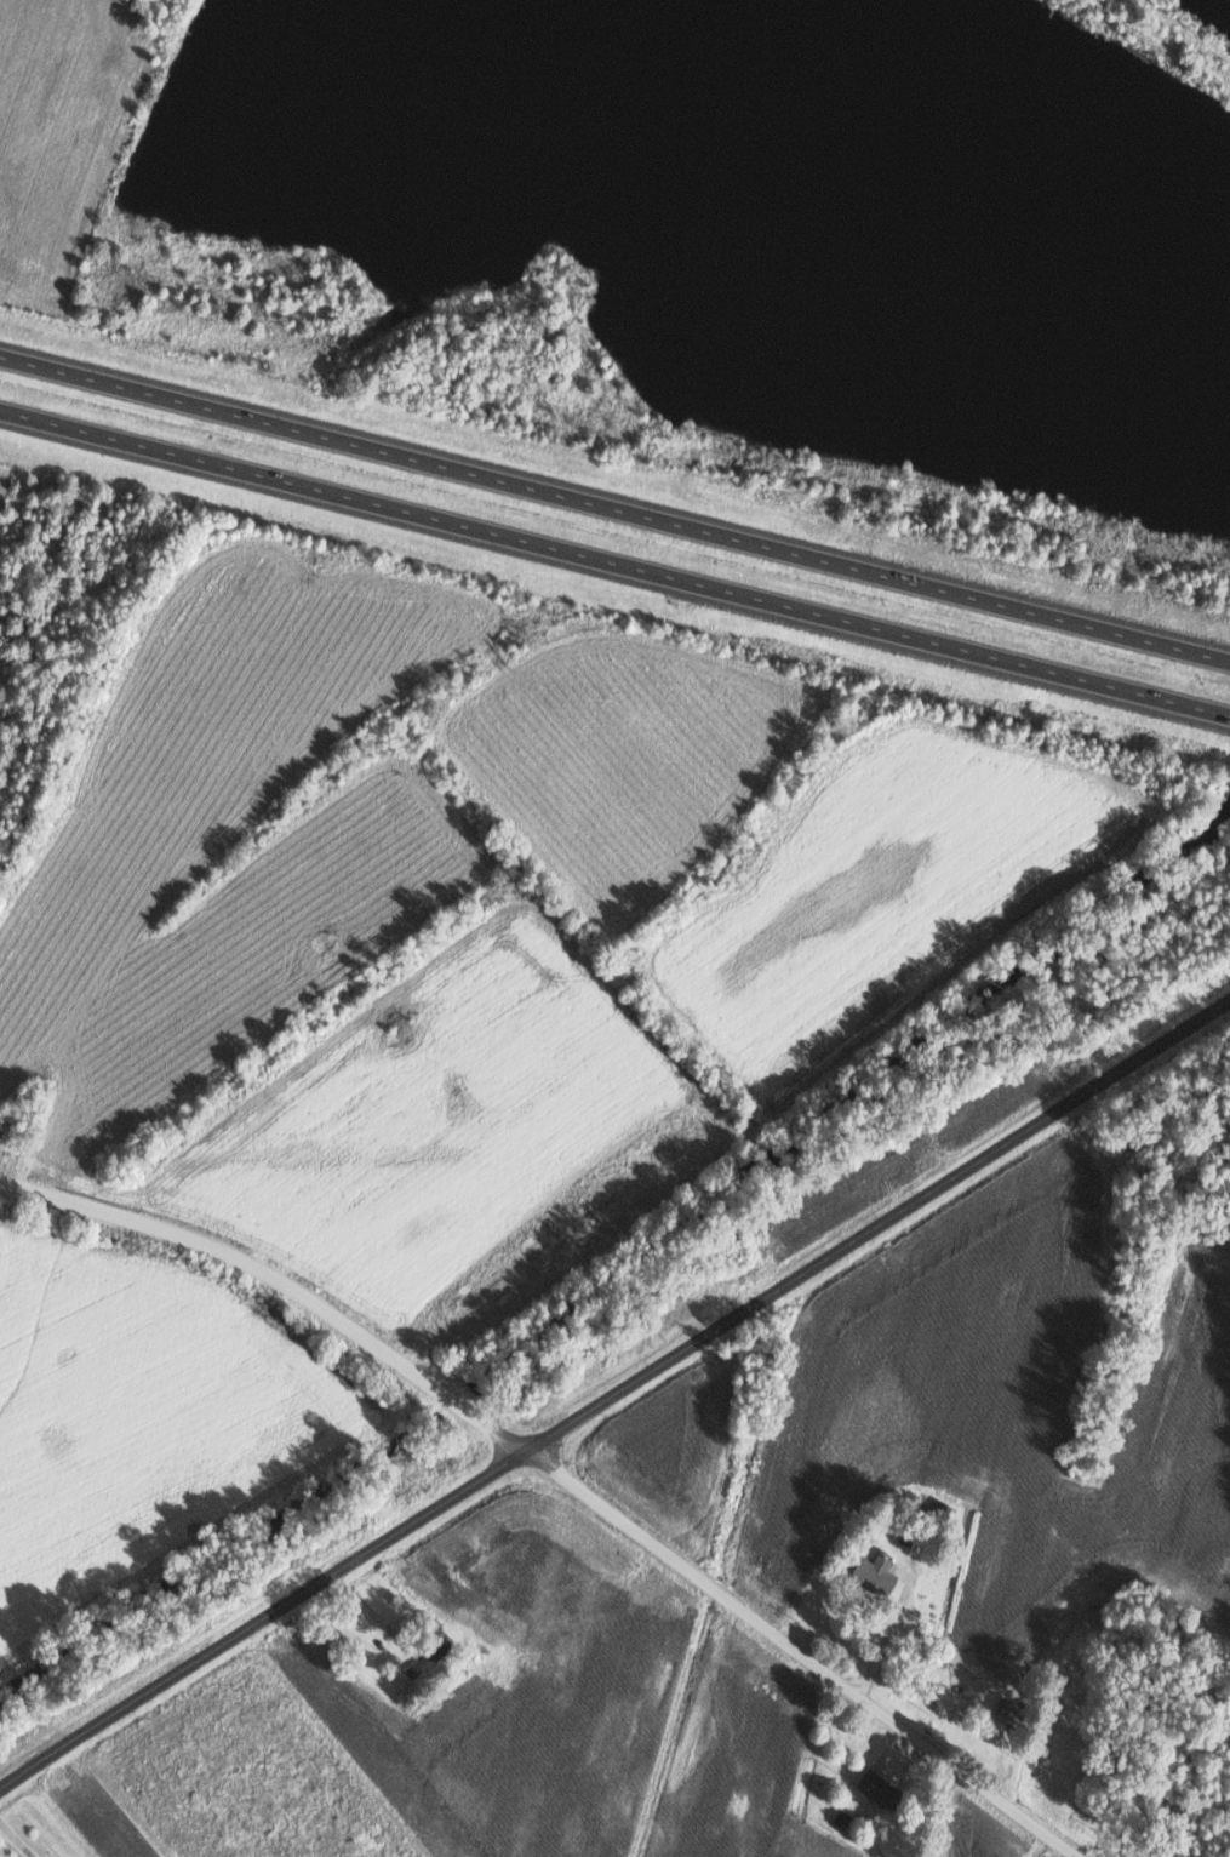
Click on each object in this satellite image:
crop: (62, 136)
road: (614, 507)
road: (614, 562)
road: (613, 1393)
road: (561, 1478)
building: (875, 1573)
building: (428, 1658)
building: (879, 1788)
building: (841, 1818)

